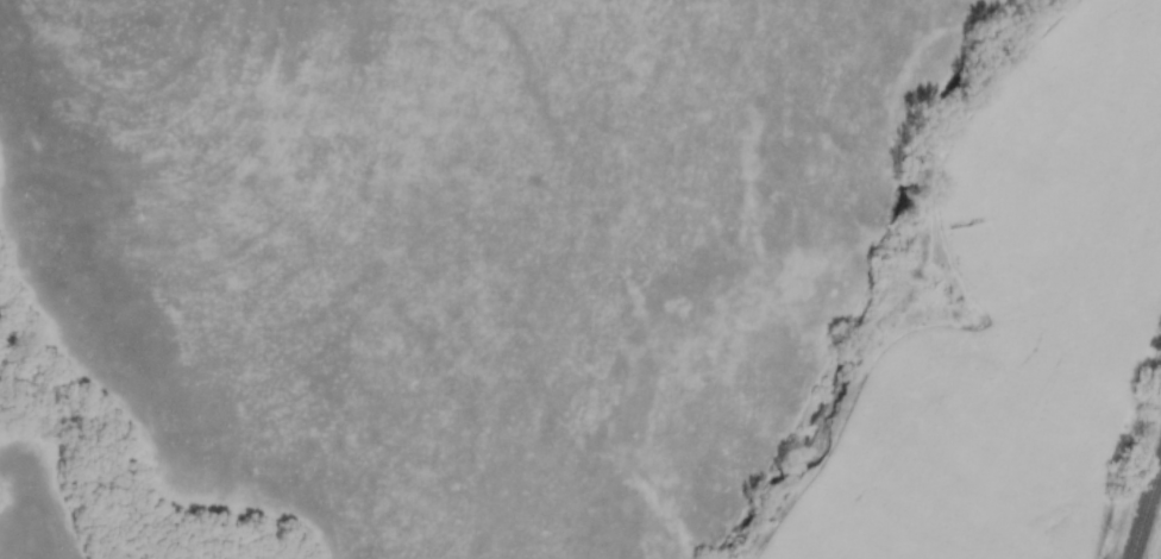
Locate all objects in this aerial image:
railway: (1146, 509)

